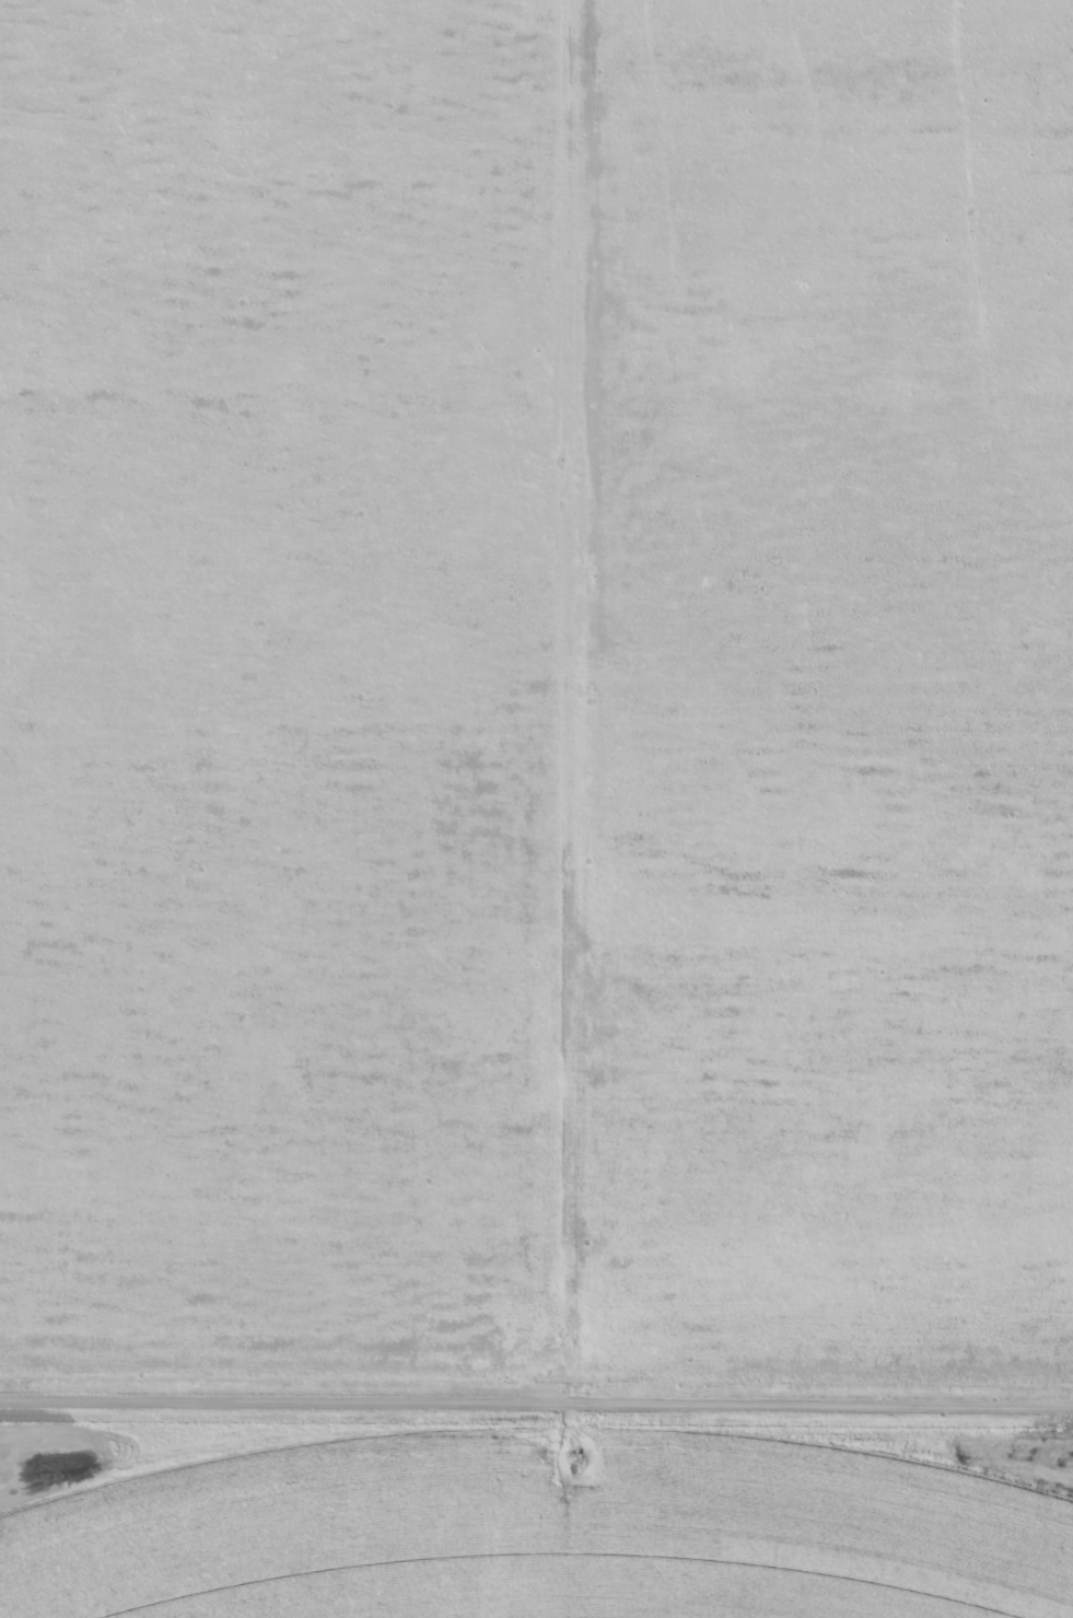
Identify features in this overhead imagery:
road: (536, 1402)

